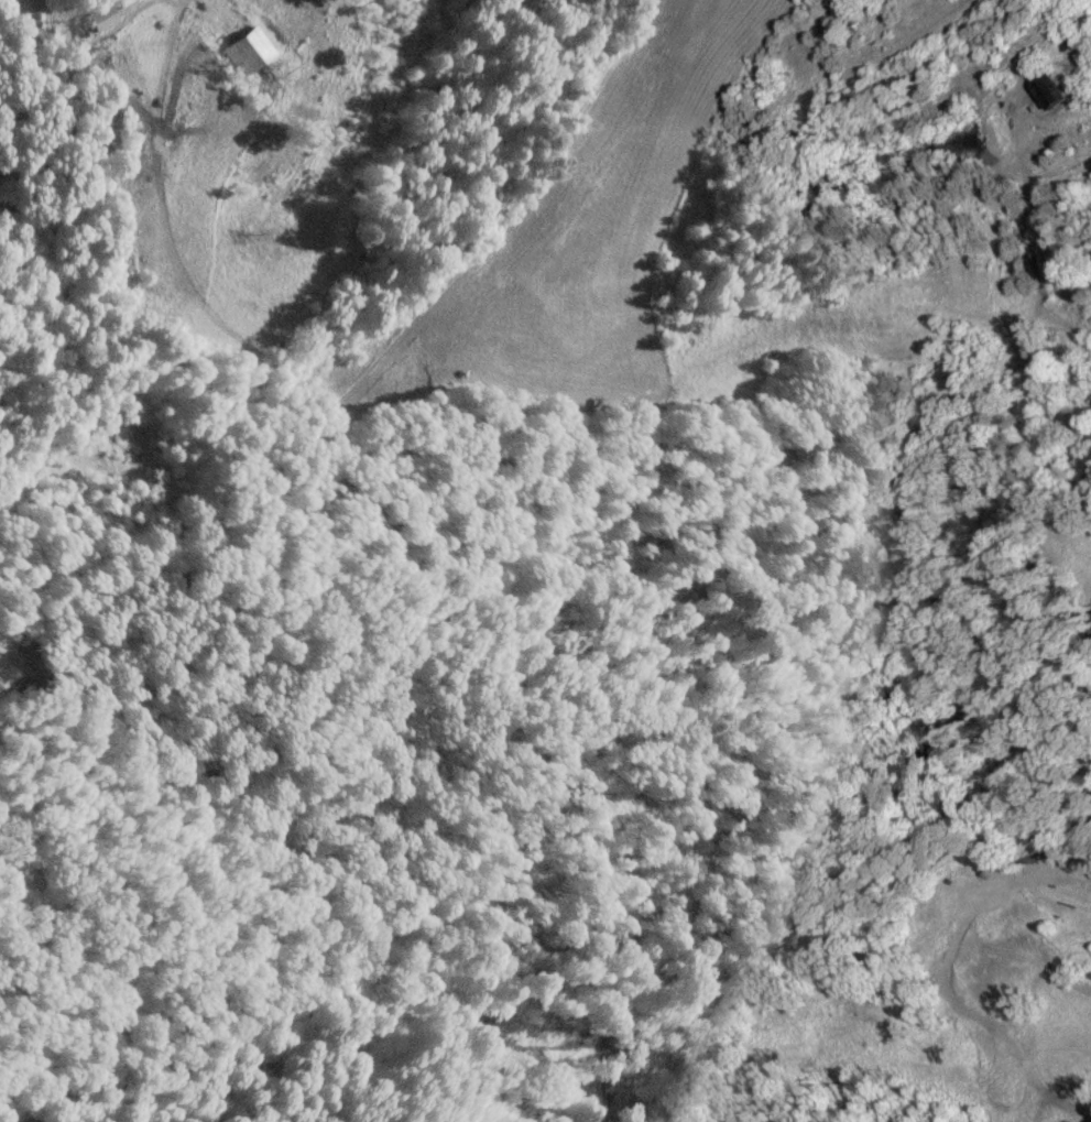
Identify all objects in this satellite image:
road: (1076, 57)

